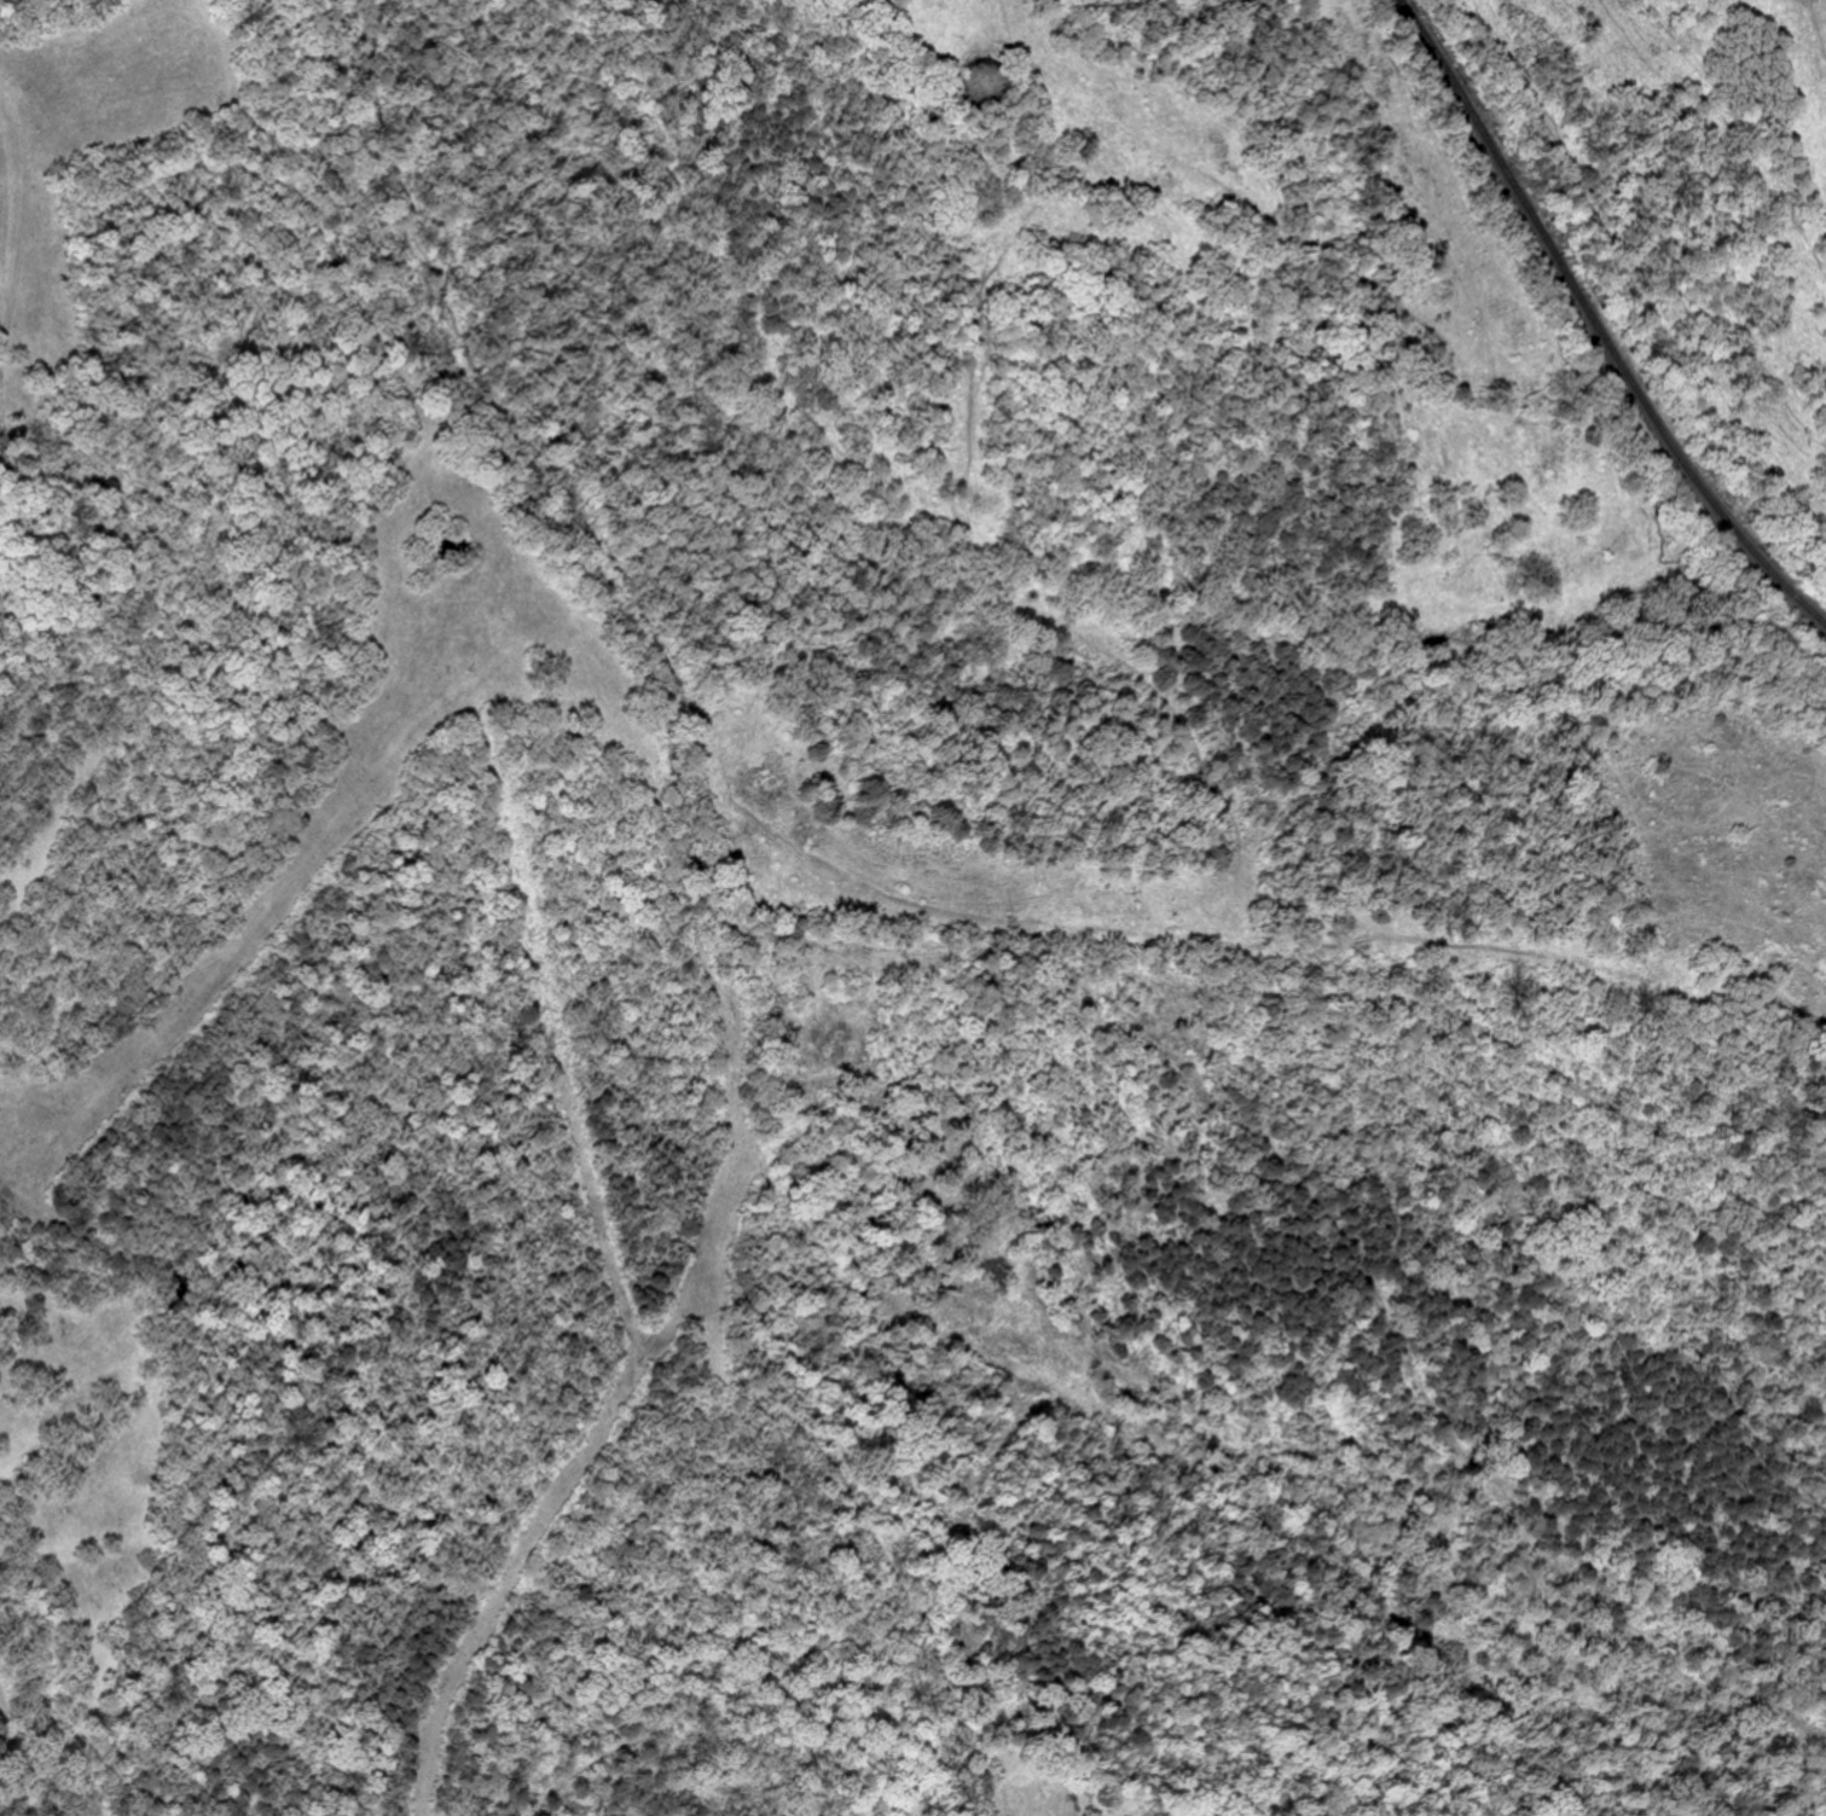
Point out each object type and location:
railway: (1600, 323)

